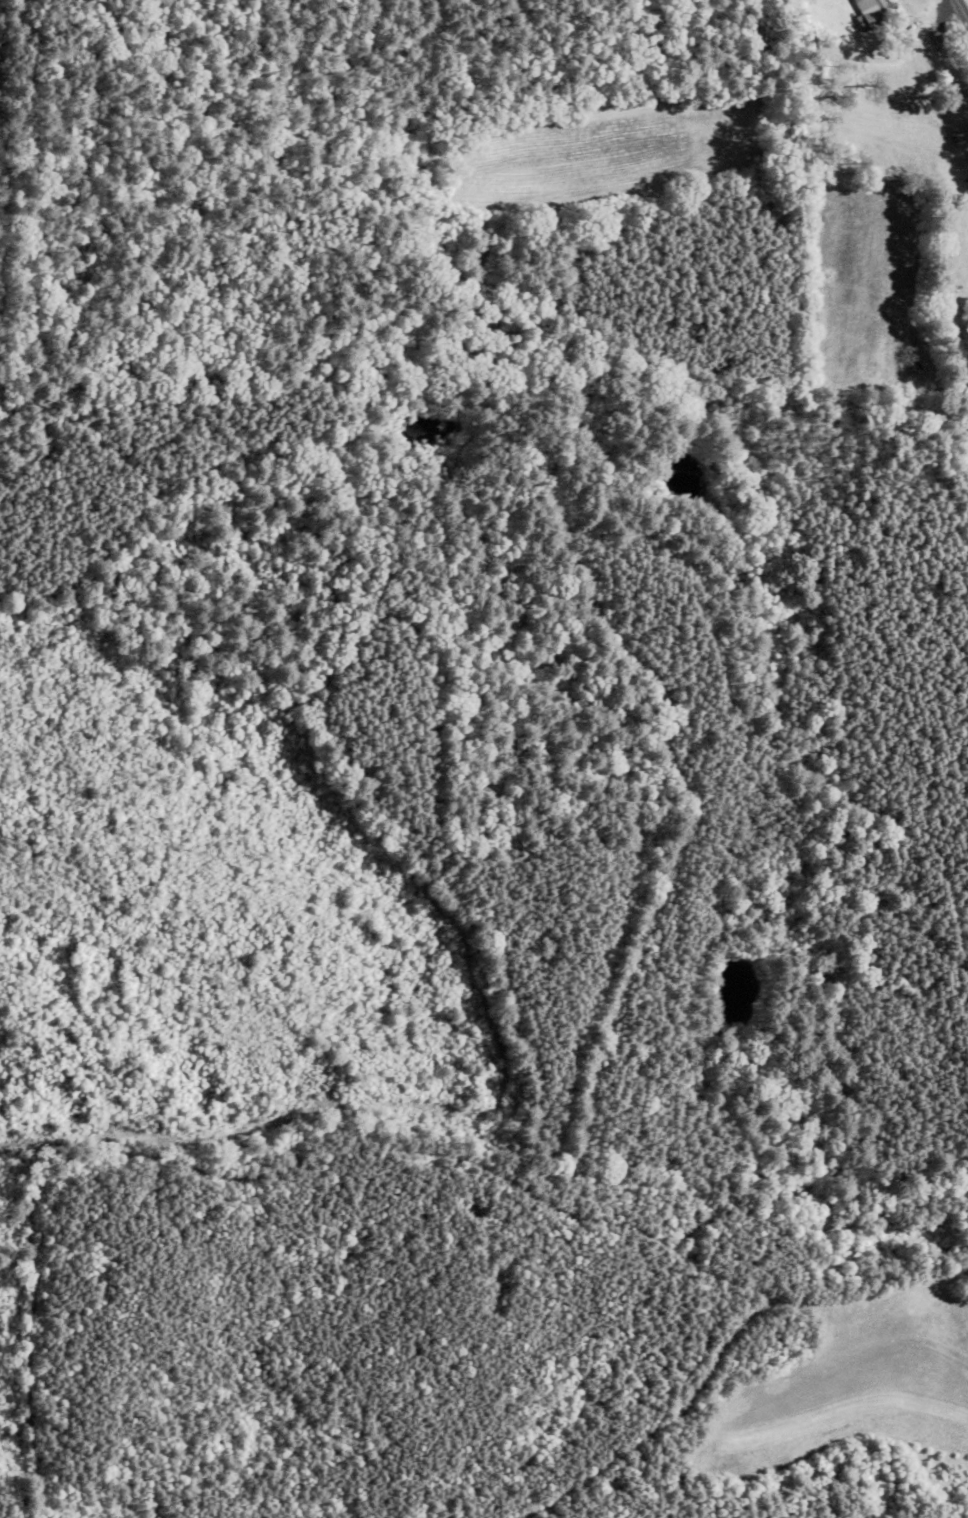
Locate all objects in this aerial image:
building: (875, 11)
road: (950, 35)

